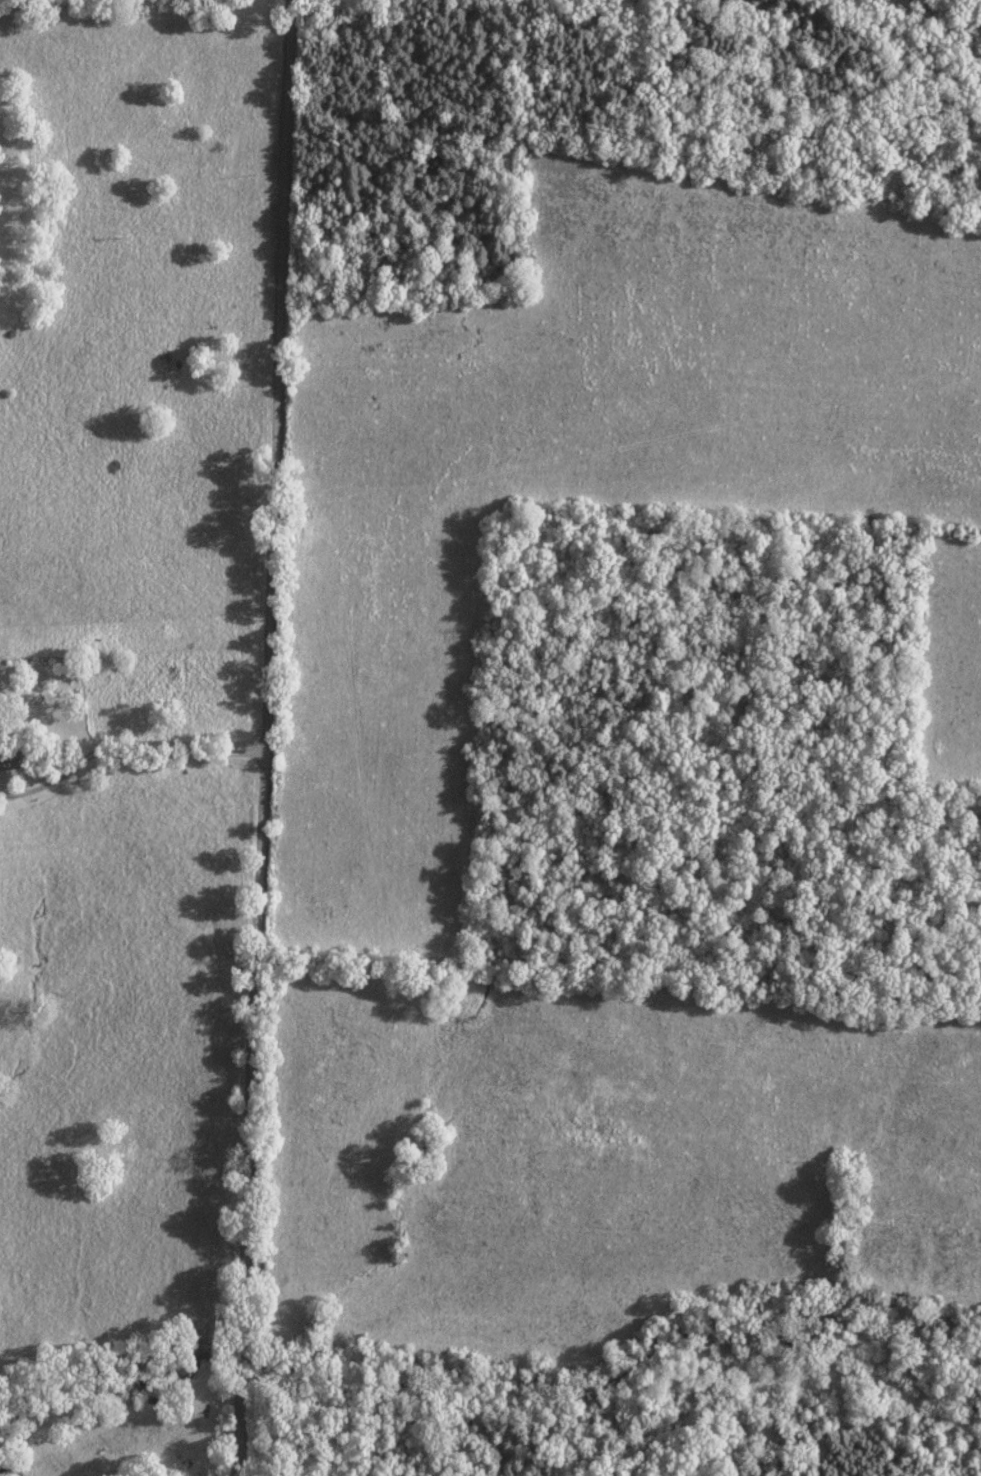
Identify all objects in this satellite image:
road: (266, 738)
road: (128, 752)
road: (562, 938)

